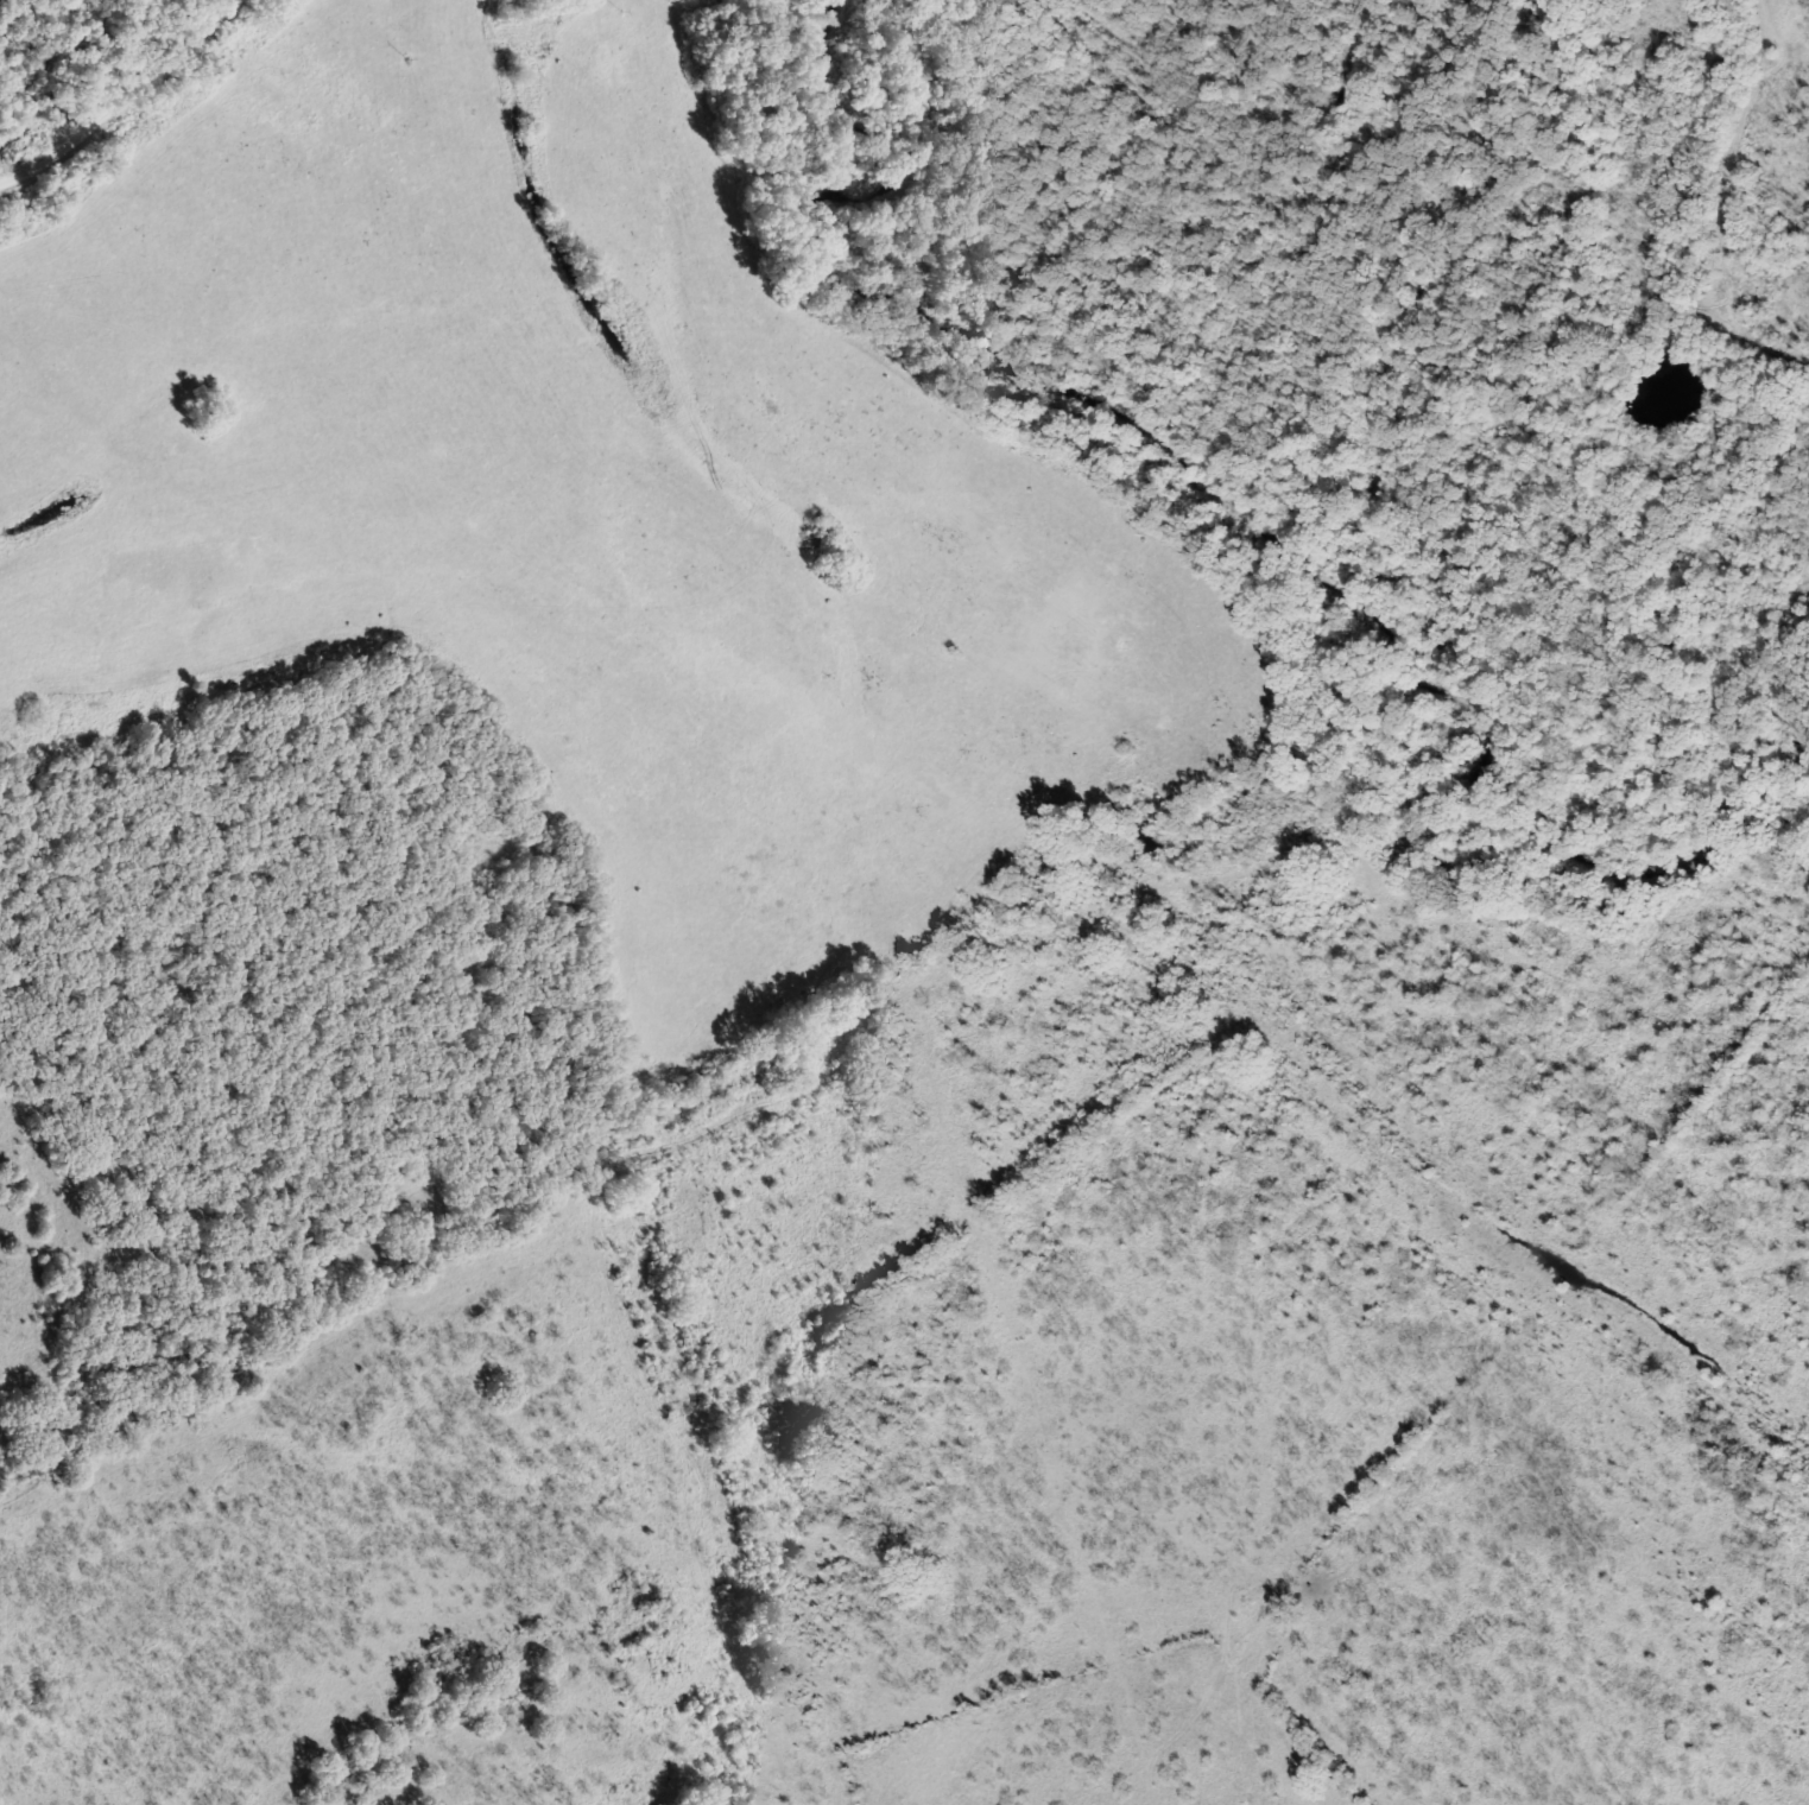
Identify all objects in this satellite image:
road: (127, 101)

